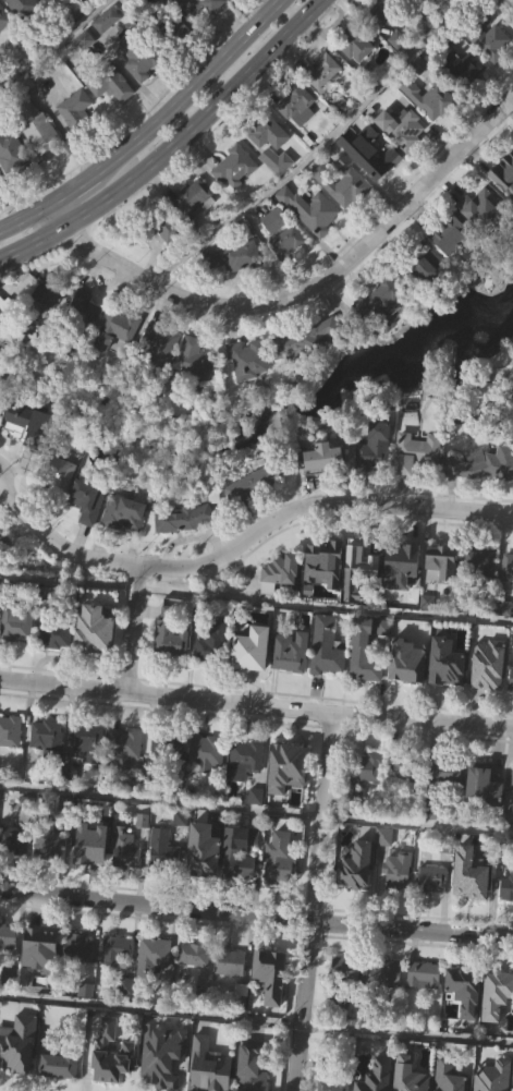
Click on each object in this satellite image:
building: (416, 0)
building: (84, 1)
building: (443, 1)
building: (17, 4)
building: (259, 4)
building: (197, 5)
building: (383, 10)
building: (71, 12)
road: (247, 14)
building: (3, 19)
building: (105, 20)
building: (145, 23)
building: (194, 25)
building: (169, 33)
building: (486, 37)
building: (356, 40)
road: (54, 41)
building: (386, 41)
building: (4, 51)
building: (109, 53)
building: (137, 56)
building: (462, 69)
building: (320, 72)
building: (492, 75)
building: (357, 77)
building: (105, 82)
road: (206, 84)
building: (139, 90)
building: (424, 95)
building: (466, 101)
building: (295, 104)
building: (74, 110)
building: (114, 119)
road: (201, 121)
building: (400, 128)
building: (37, 130)
building: (261, 130)
building: (430, 132)
building: (300, 137)
building: (77, 142)
building: (9, 149)
road: (312, 151)
building: (274, 161)
building: (404, 161)
building: (41, 163)
building: (233, 167)
building: (503, 175)
road: (84, 184)
building: (341, 184)
building: (13, 185)
building: (371, 185)
building: (279, 194)
building: (192, 198)
building: (236, 201)
building: (480, 208)
building: (504, 208)
building: (309, 210)
road: (25, 216)
building: (349, 220)
building: (272, 221)
building: (158, 227)
building: (196, 229)
building: (448, 234)
building: (483, 240)
road: (34, 241)
building: (285, 242)
building: (313, 243)
building: (232, 257)
building: (168, 264)
building: (452, 267)
building: (288, 277)
building: (235, 291)
road: (306, 294)
building: (44, 298)
building: (430, 298)
building: (379, 299)
building: (83, 308)
building: (114, 327)
building: (45, 332)
building: (381, 334)
building: (87, 341)
building: (296, 341)
building: (158, 348)
building: (2, 354)
building: (246, 357)
building: (193, 361)
building: (118, 363)
building: (162, 378)
building: (198, 390)
building: (249, 392)
building: (372, 447)
building: (414, 450)
building: (29, 456)
building: (320, 456)
building: (483, 463)
building: (56, 474)
building: (377, 481)
building: (249, 484)
building: (418, 485)
building: (326, 490)
building: (484, 497)
building: (85, 499)
building: (62, 505)
building: (122, 512)
building: (254, 517)
building: (180, 518)
building: (89, 534)
road: (244, 541)
building: (1, 543)
building: (126, 546)
building: (186, 550)
building: (364, 556)
building: (406, 556)
building: (441, 557)
building: (480, 562)
building: (508, 566)
building: (278, 572)
building: (3, 575)
building: (327, 596)
building: (404, 596)
building: (444, 596)
building: (483, 596)
building: (361, 601)
building: (509, 601)
building: (282, 606)
building: (14, 622)
road: (130, 629)
building: (53, 633)
building: (91, 635)
building: (168, 635)
building: (205, 647)
building: (244, 650)
building: (288, 651)
building: (327, 653)
building: (19, 656)
building: (384, 659)
building: (97, 663)
building: (364, 664)
building: (487, 664)
building: (57, 667)
building: (444, 667)
building: (405, 668)
building: (172, 671)
building: (213, 677)
building: (328, 679)
building: (510, 679)
building: (254, 682)
building: (292, 684)
building: (408, 694)
building: (448, 695)
building: (490, 698)
road: (256, 704)
building: (512, 712)
building: (9, 729)
building: (84, 736)
building: (46, 739)
building: (121, 747)
building: (167, 748)
building: (205, 749)
building: (243, 760)
building: (290, 762)
building: (11, 764)
building: (49, 769)
building: (407, 772)
building: (445, 772)
building: (362, 773)
building: (88, 775)
building: (170, 778)
building: (511, 779)
building: (126, 780)
building: (207, 786)
building: (483, 786)
building: (247, 792)
building: (289, 800)
building: (367, 802)
building: (406, 804)
building: (449, 807)
road: (256, 811)
building: (486, 817)
building: (512, 821)
building: (257, 828)
building: (12, 840)
building: (47, 841)
building: (161, 849)
building: (123, 850)
building: (84, 851)
building: (198, 852)
building: (234, 856)
building: (278, 860)
building: (355, 864)
building: (395, 871)
building: (15, 872)
building: (469, 874)
building: (51, 875)
building: (93, 876)
building: (429, 878)
building: (166, 881)
building: (127, 882)
building: (205, 883)
building: (241, 885)
building: (506, 886)
building: (282, 890)
building: (358, 898)
road: (310, 900)
building: (400, 904)
building: (473, 906)
building: (435, 911)
road: (256, 918)
building: (508, 920)
building: (7, 936)
building: (41, 941)
building: (77, 947)
building: (113, 948)
building: (193, 955)
building: (149, 958)
building: (230, 962)
building: (270, 962)
building: (9, 969)
building: (383, 973)
building: (422, 974)
building: (80, 979)
building: (42, 980)
building: (119, 980)
building: (340, 984)
building: (157, 985)
building: (196, 986)
building: (464, 989)
building: (232, 993)
building: (496, 993)
building: (349, 1001)
building: (386, 1006)
building: (272, 1007)
building: (426, 1007)
road: (149, 1008)
building: (88, 1022)
building: (467, 1022)
building: (498, 1027)
road: (405, 1033)
building: (16, 1044)
building: (109, 1054)
building: (161, 1054)
building: (58, 1064)
building: (251, 1066)
building: (207, 1067)
building: (20, 1070)
building: (407, 1075)
building: (341, 1076)
building: (491, 1076)
building: (375, 1077)
building: (452, 1086)
building: (61, 1089)

